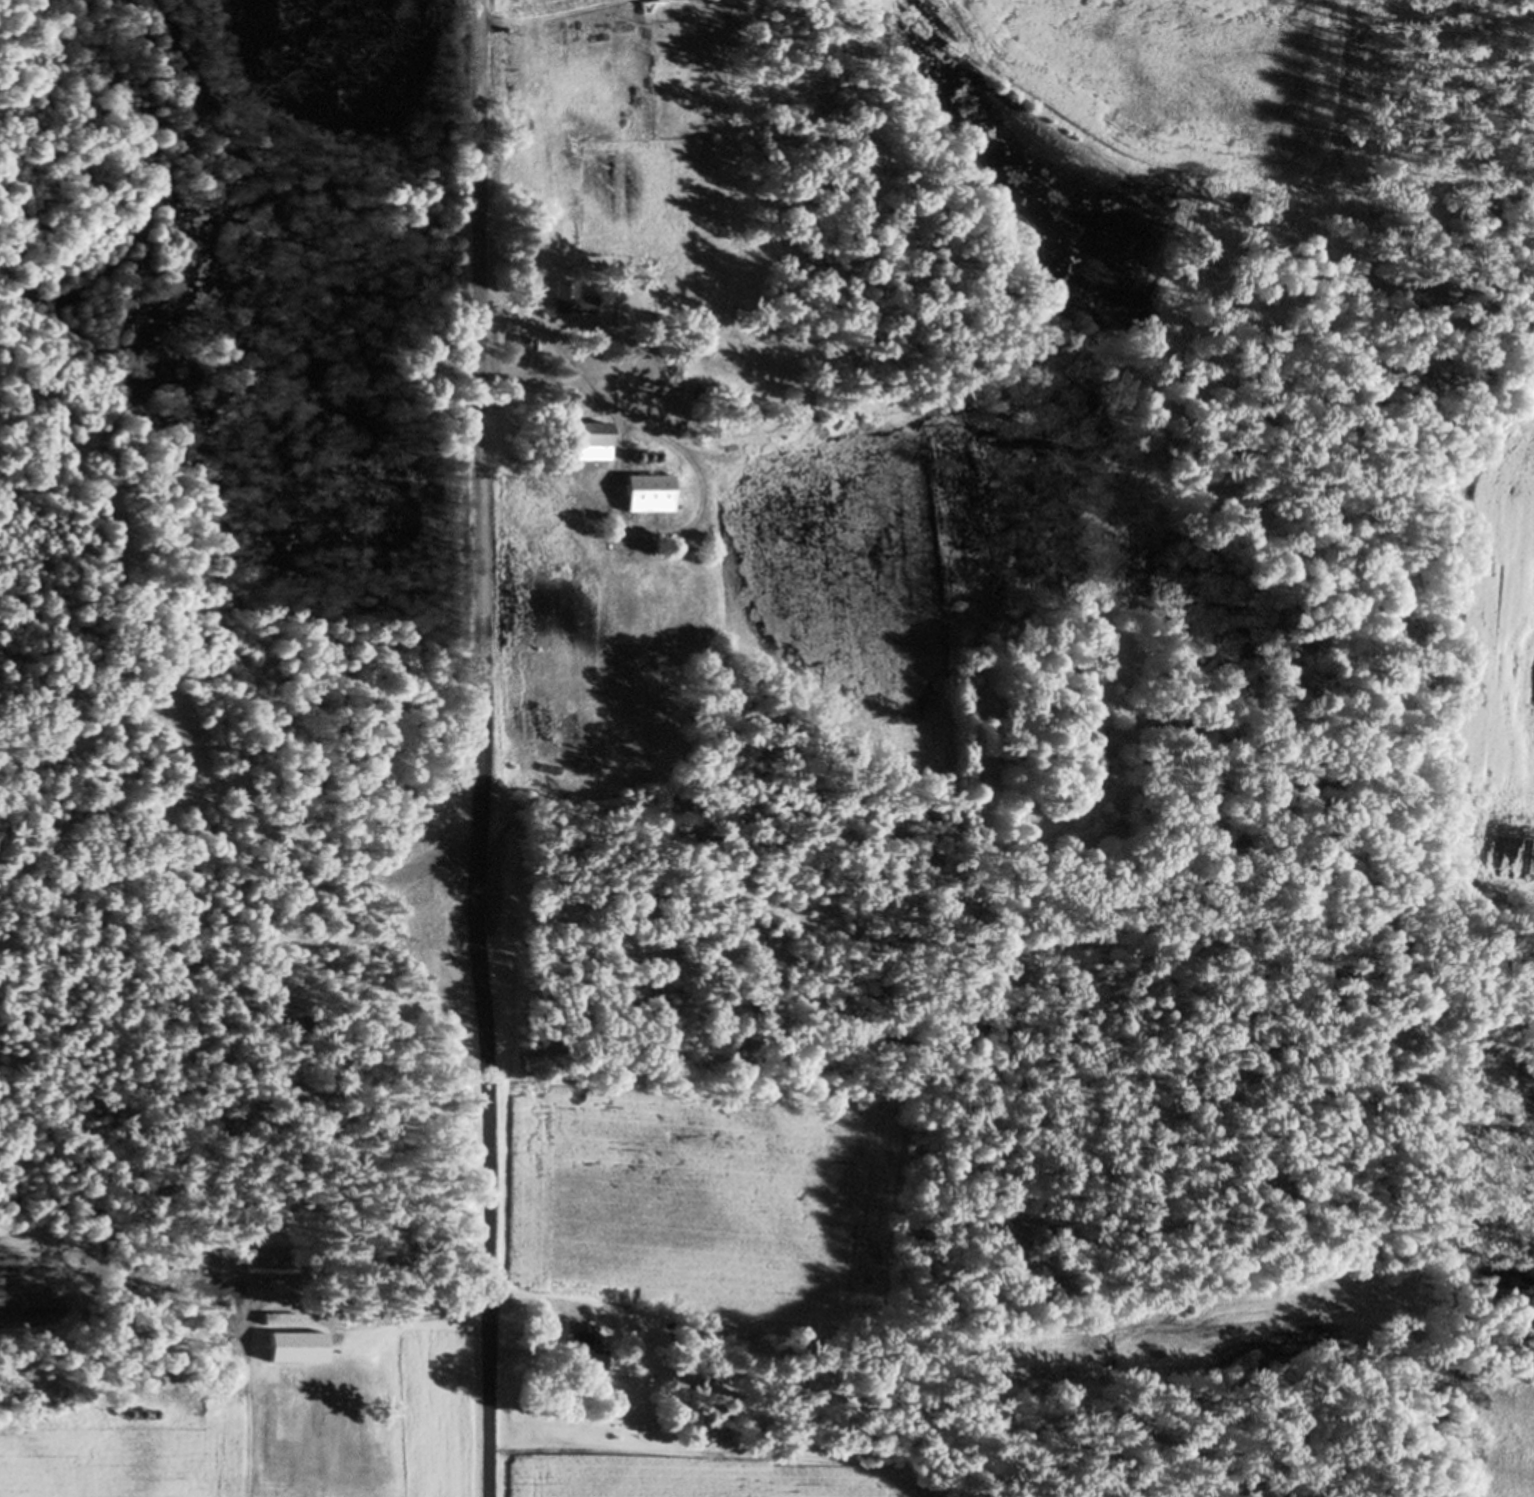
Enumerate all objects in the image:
building: (570, 301)
building: (521, 354)
building: (584, 443)
building: (643, 495)
road: (471, 766)
building: (267, 1267)
building: (276, 1337)
building: (579, 1356)

